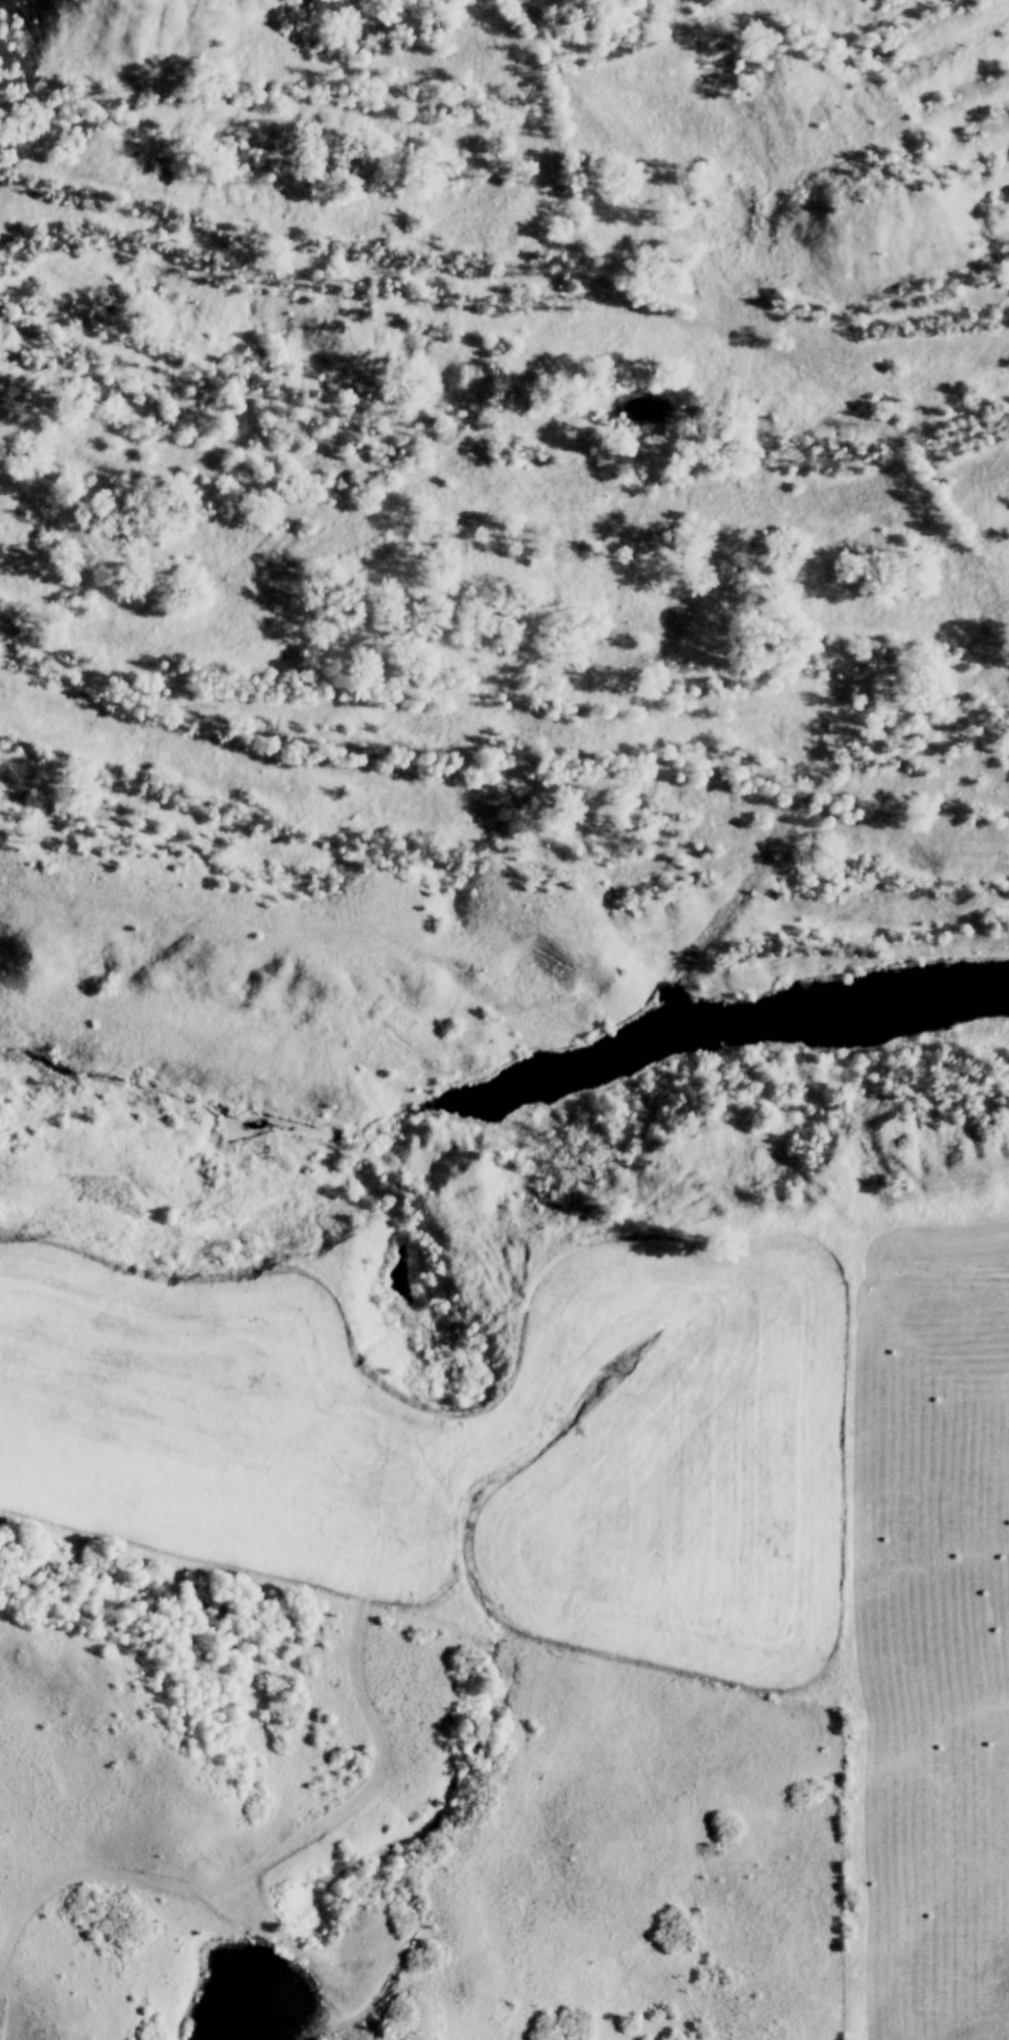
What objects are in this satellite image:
road: (648, 311)
quarry: (541, 554)

